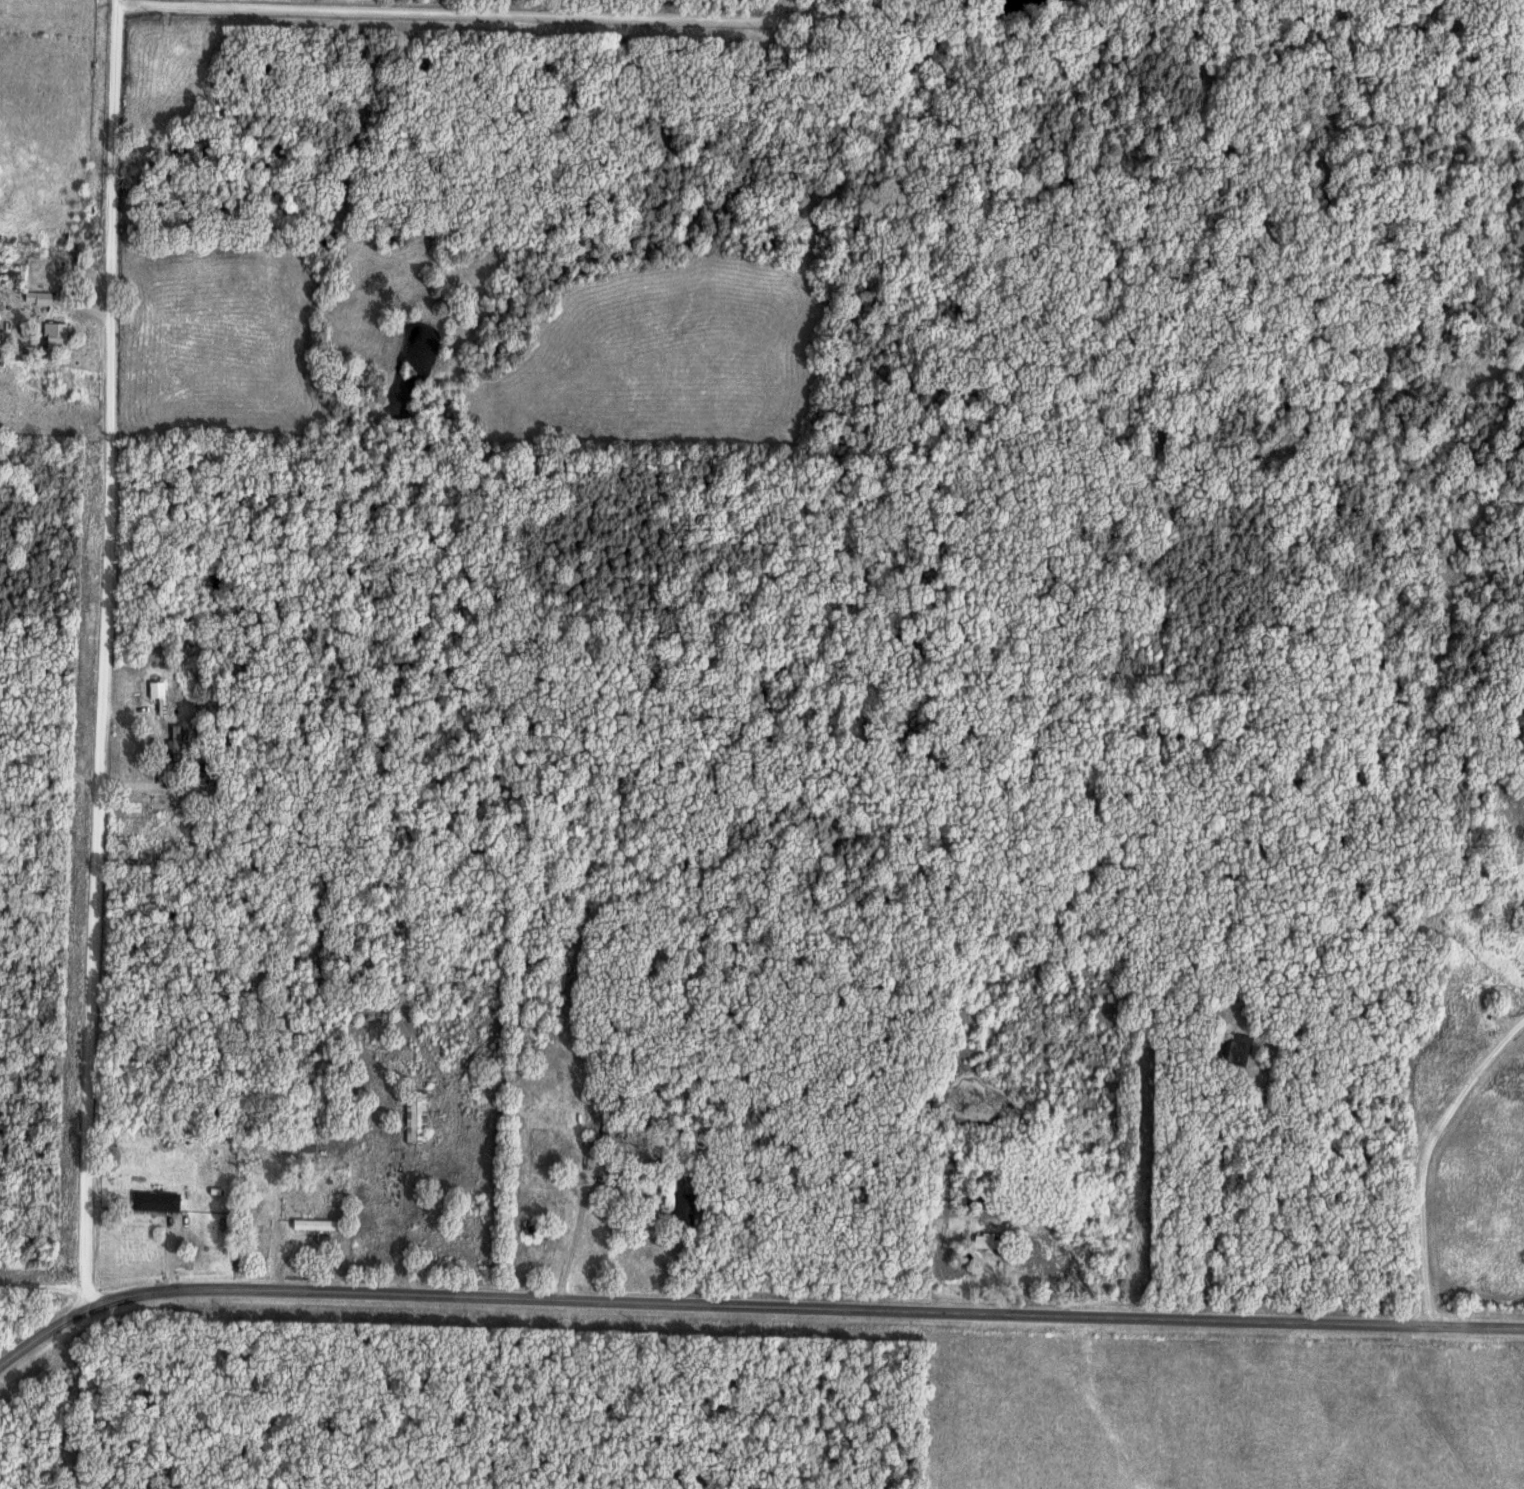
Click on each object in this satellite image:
road: (533, 9)
building: (46, 297)
building: (61, 336)
road: (109, 644)
building: (178, 744)
road: (105, 785)
building: (1239, 1049)
building: (418, 1116)
building: (310, 1146)
road: (1423, 1155)
building: (159, 1201)
building: (984, 1202)
building: (686, 1209)
road: (404, 1215)
building: (318, 1224)
road: (585, 1226)
building: (990, 1240)
road: (51, 1284)
road: (751, 1302)

